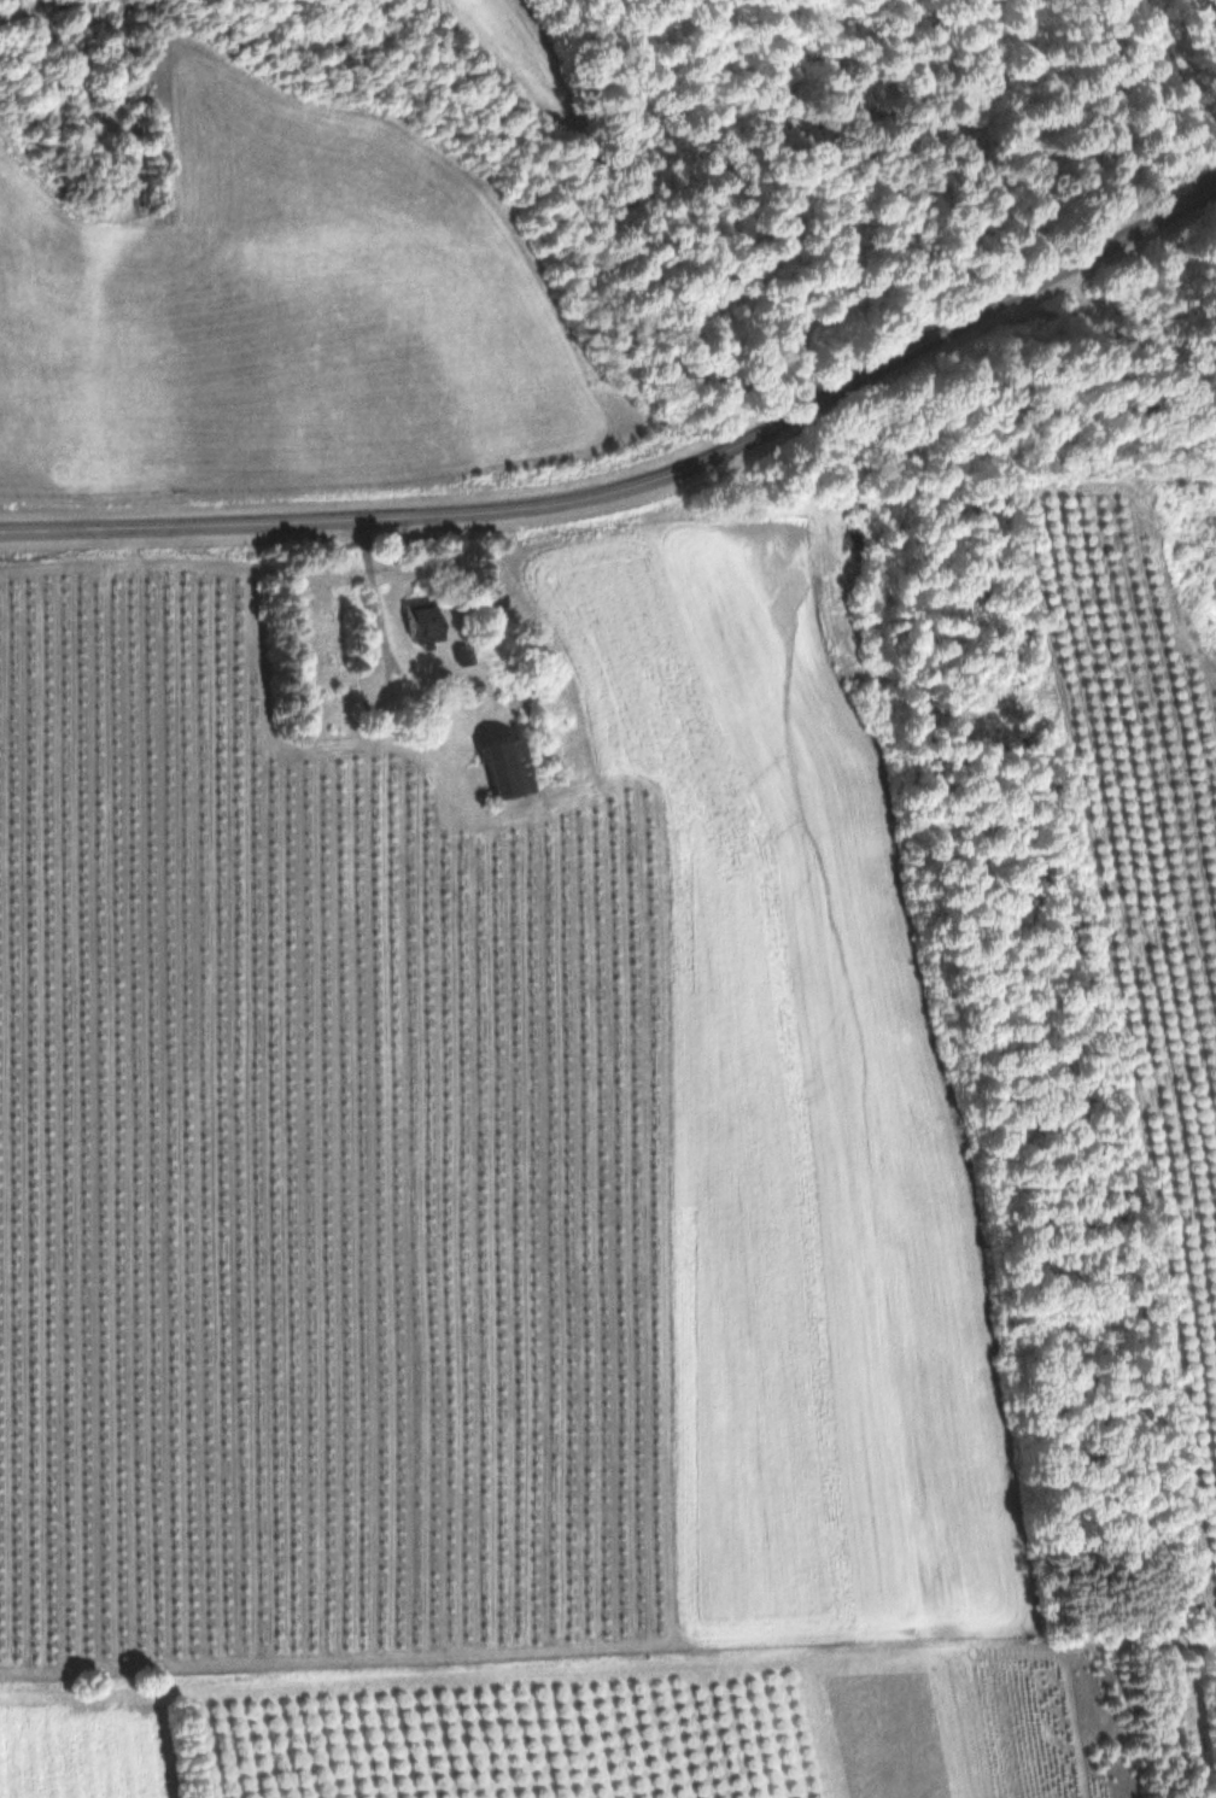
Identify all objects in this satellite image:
road: (643, 482)
building: (419, 622)
building: (502, 769)

